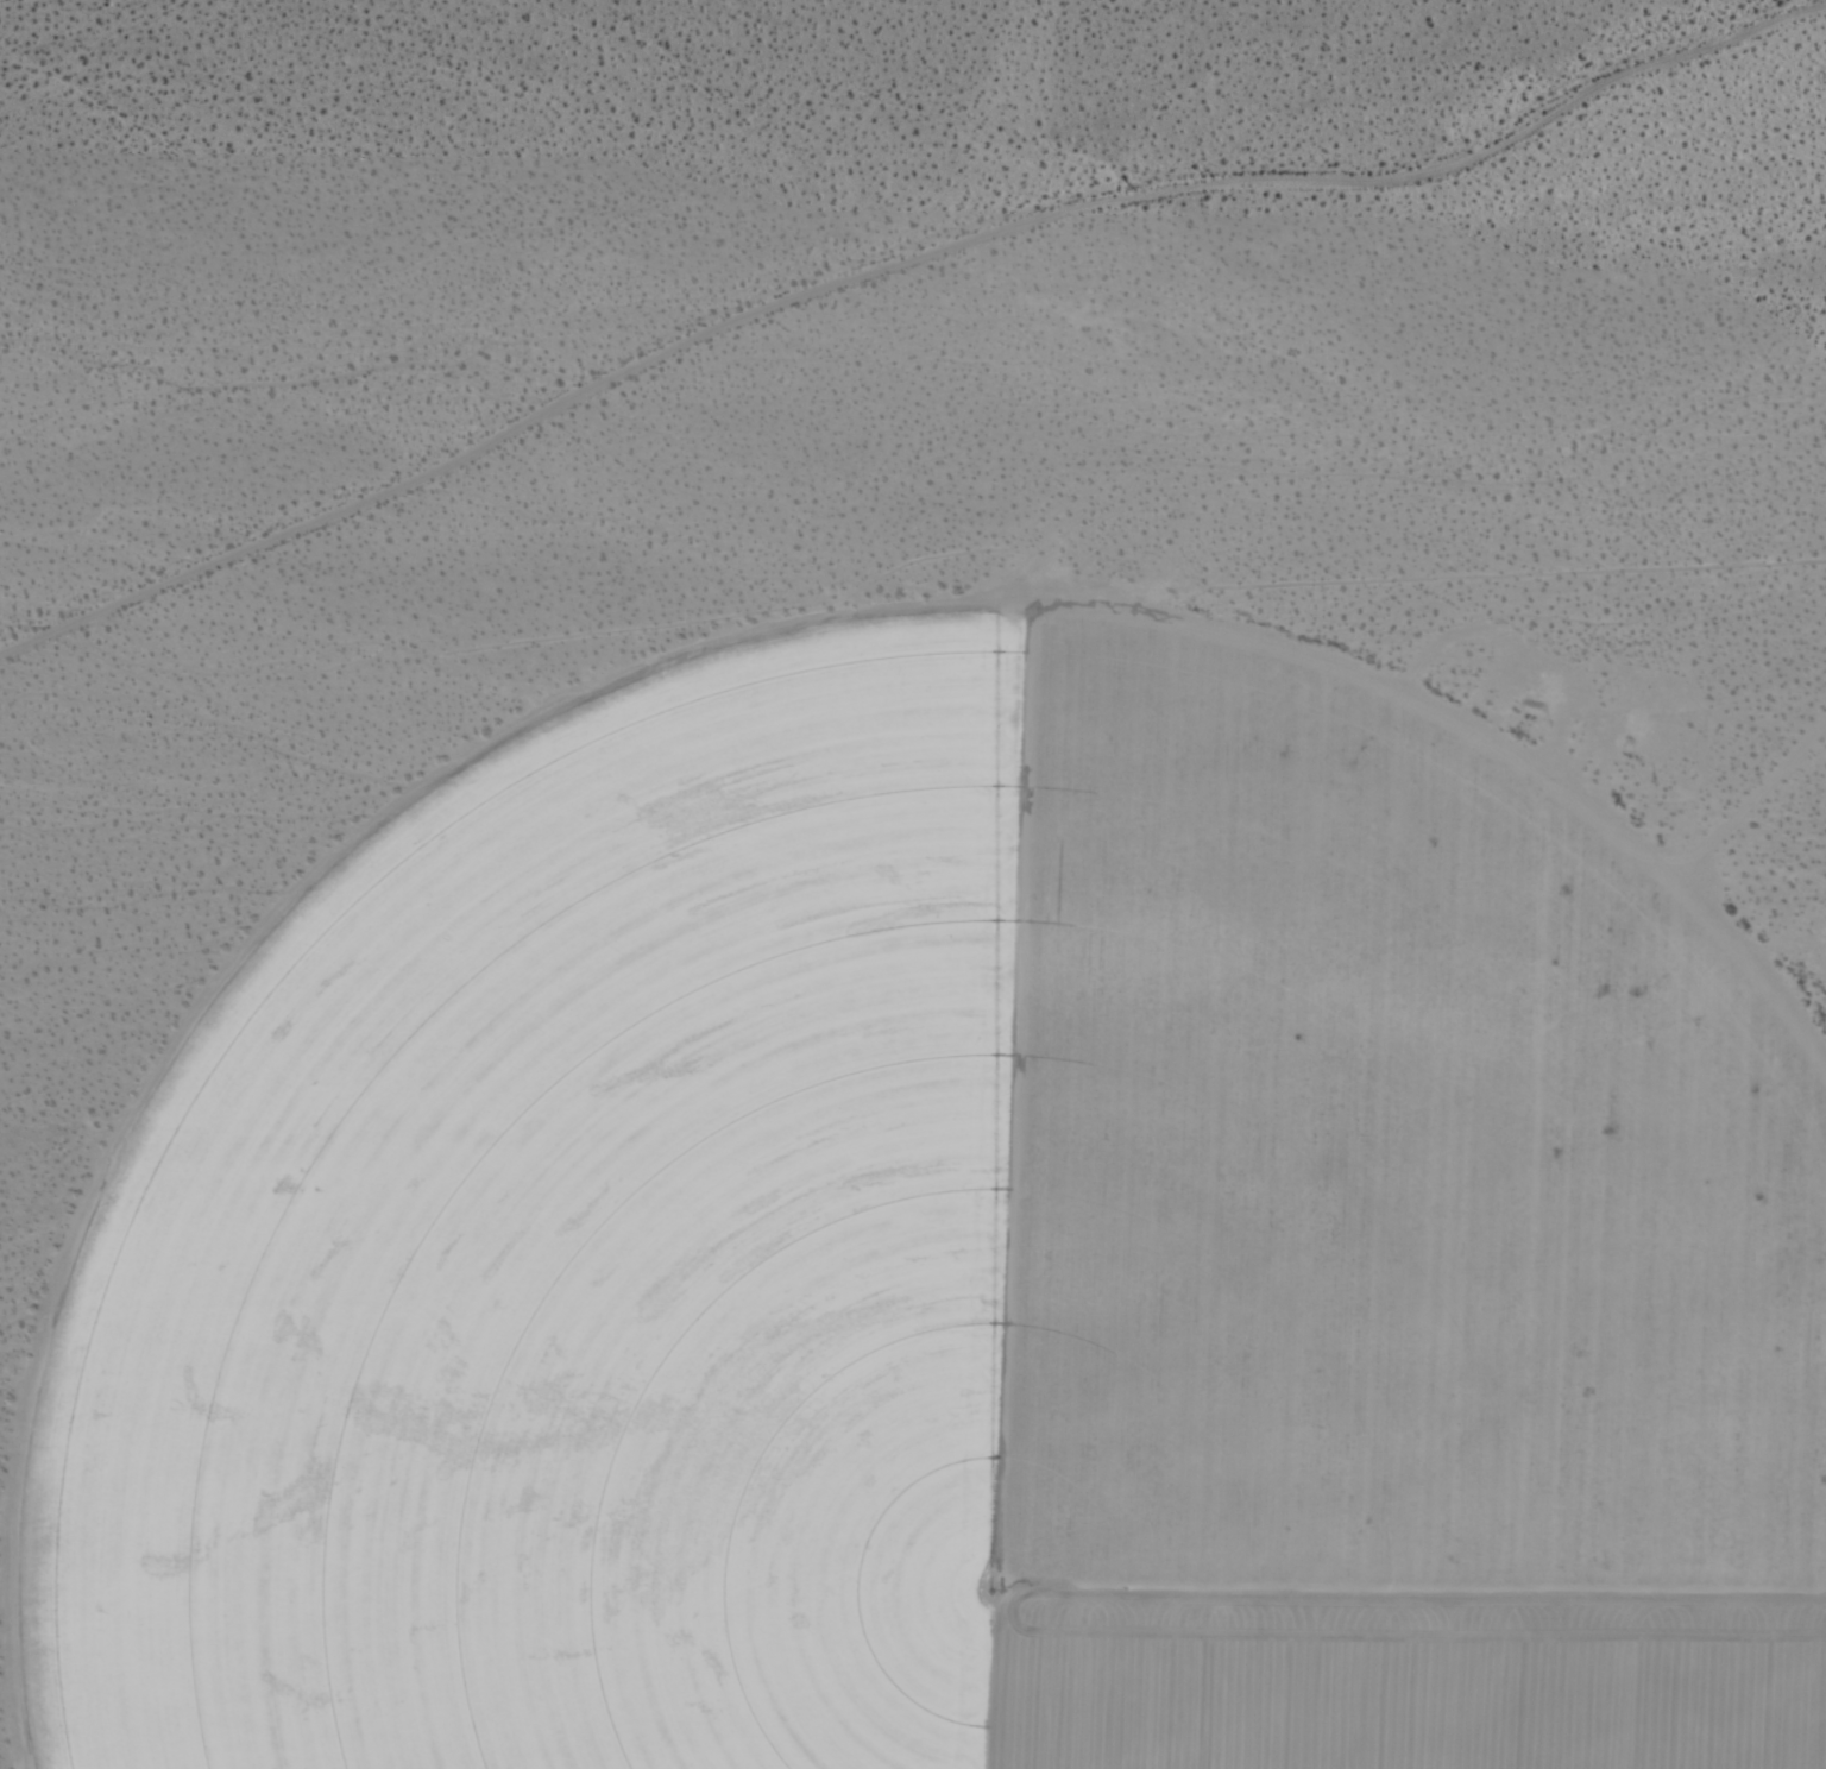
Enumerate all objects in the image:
road: (895, 245)
crop: (930, 1239)

